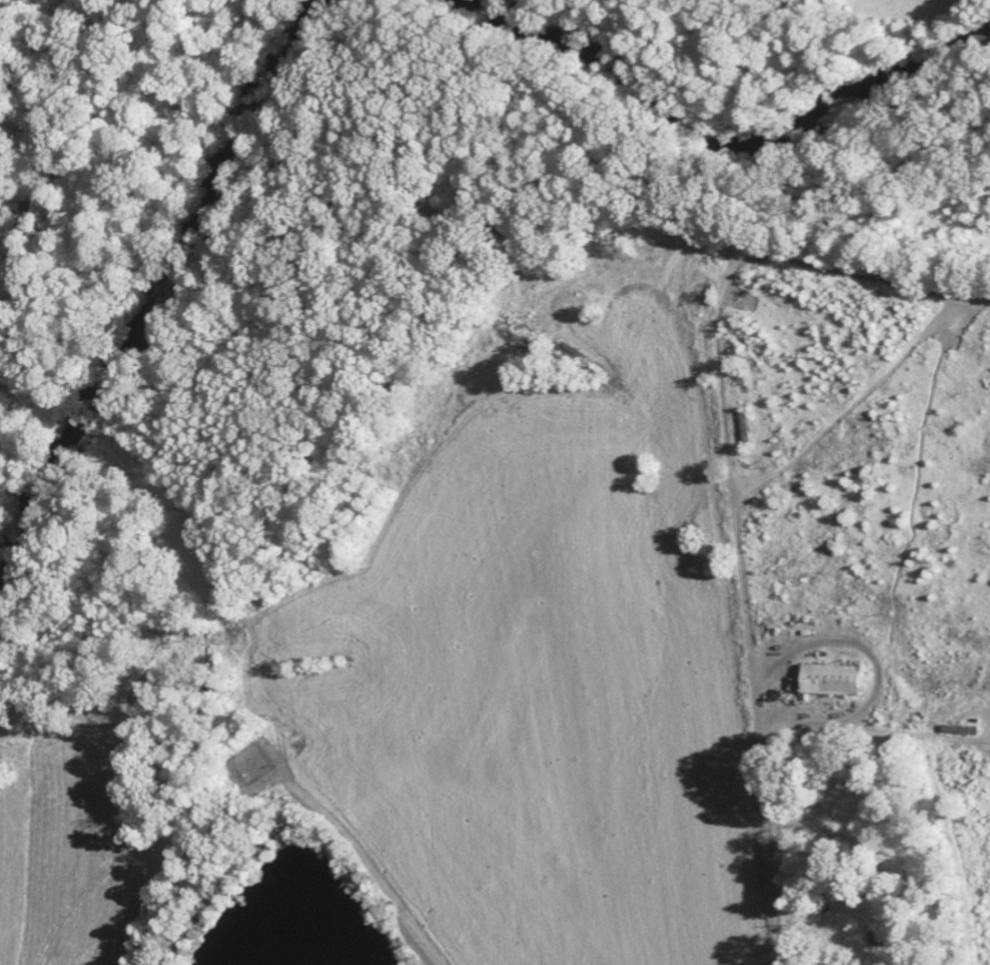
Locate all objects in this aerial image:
building: (838, 679)

